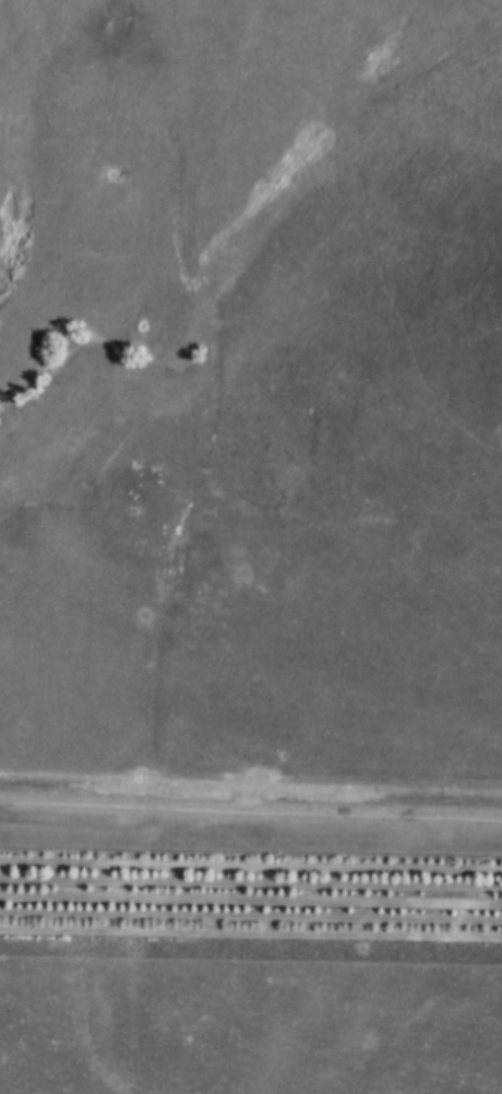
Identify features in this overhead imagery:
road: (250, 804)

